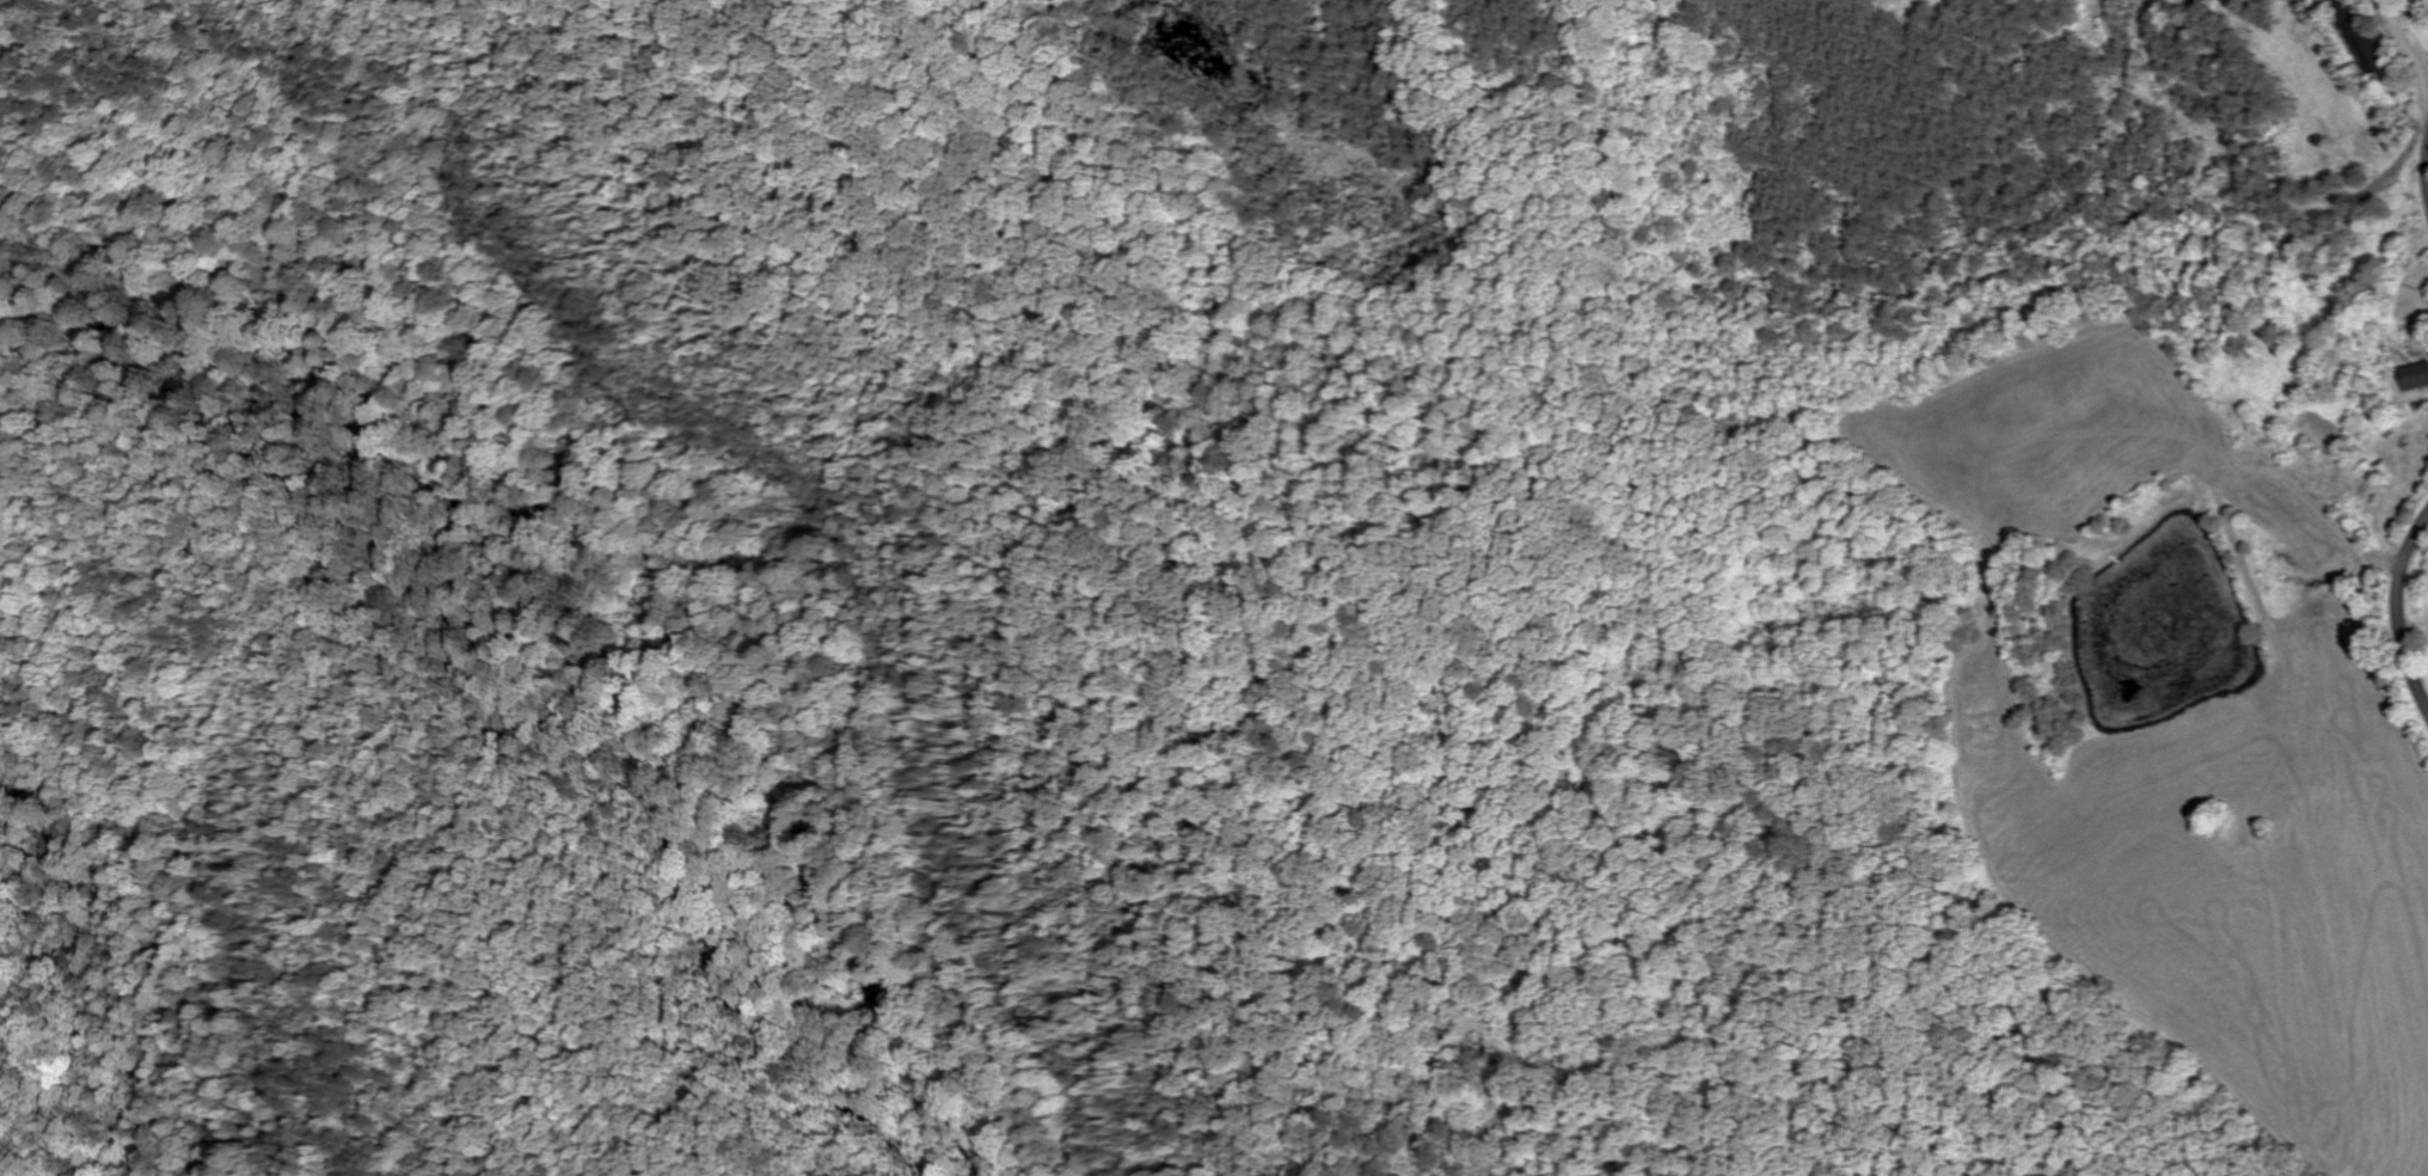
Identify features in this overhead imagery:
road: (2405, 41)
building: (2416, 379)
park: (711, 601)
road: (2398, 606)

